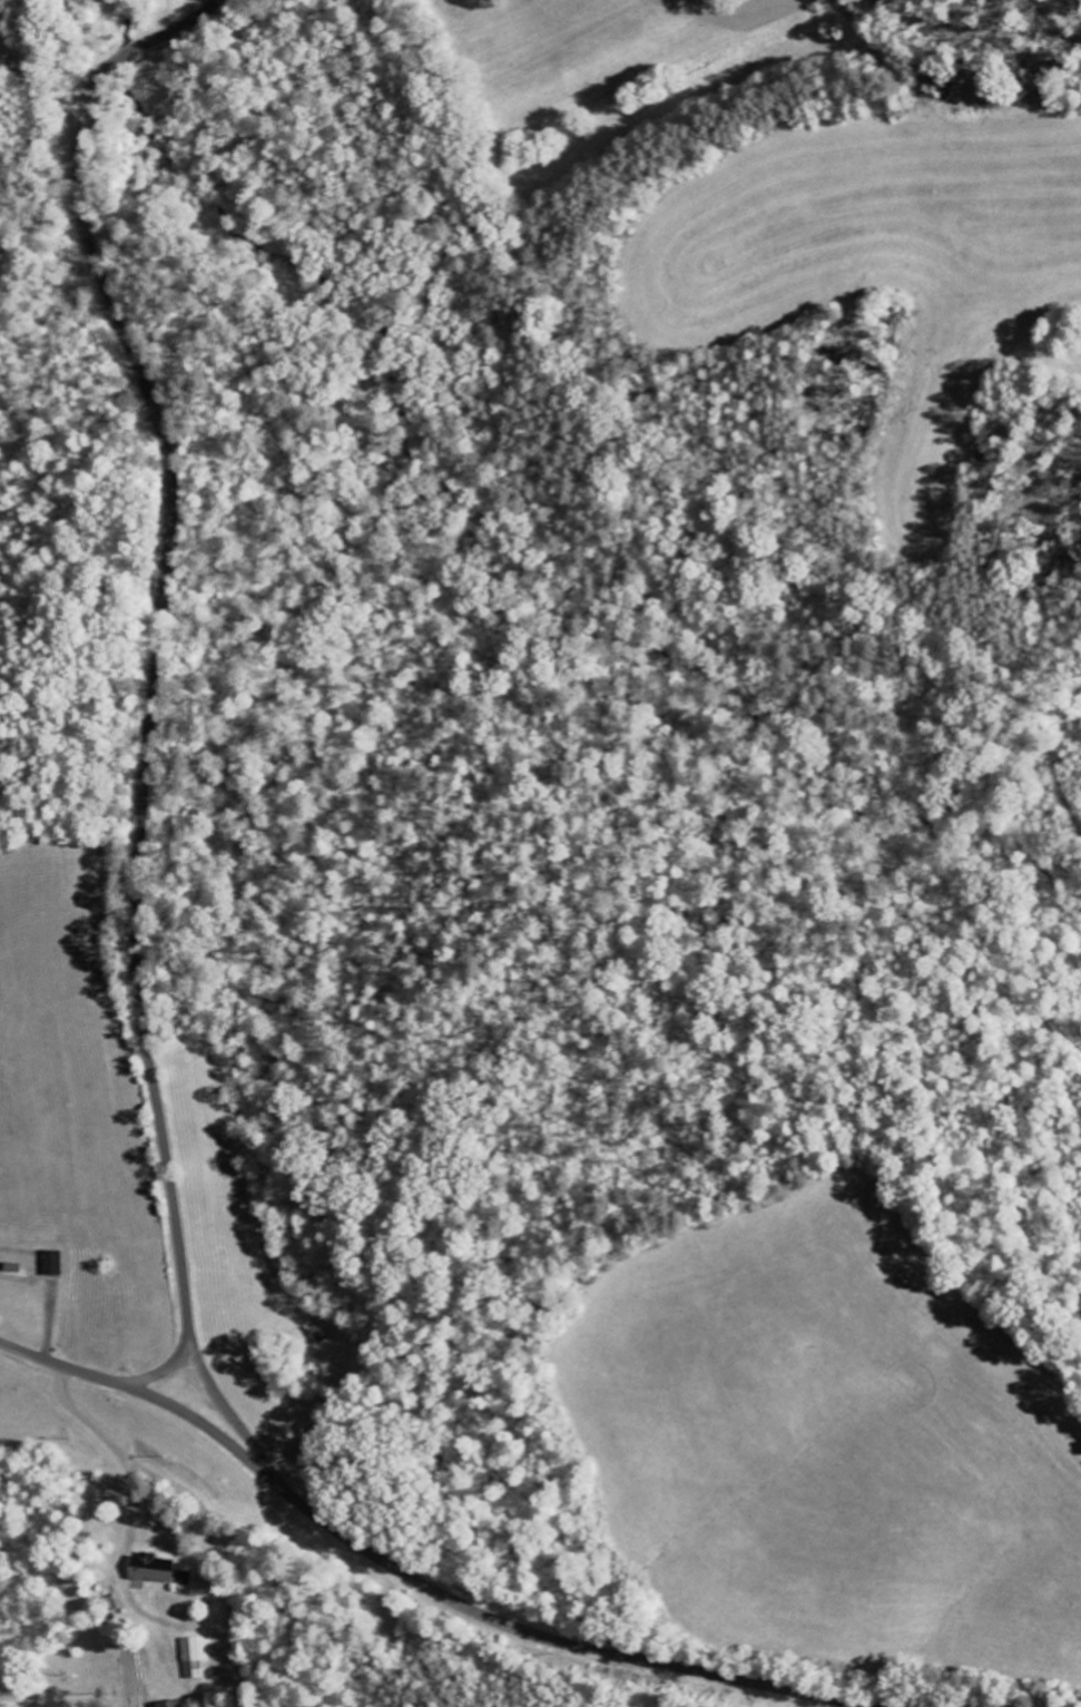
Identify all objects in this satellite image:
road: (150, 718)
building: (49, 1264)
road: (160, 1362)
building: (149, 1569)
building: (181, 1578)
road: (415, 1579)
building: (190, 1659)
building: (166, 1704)

